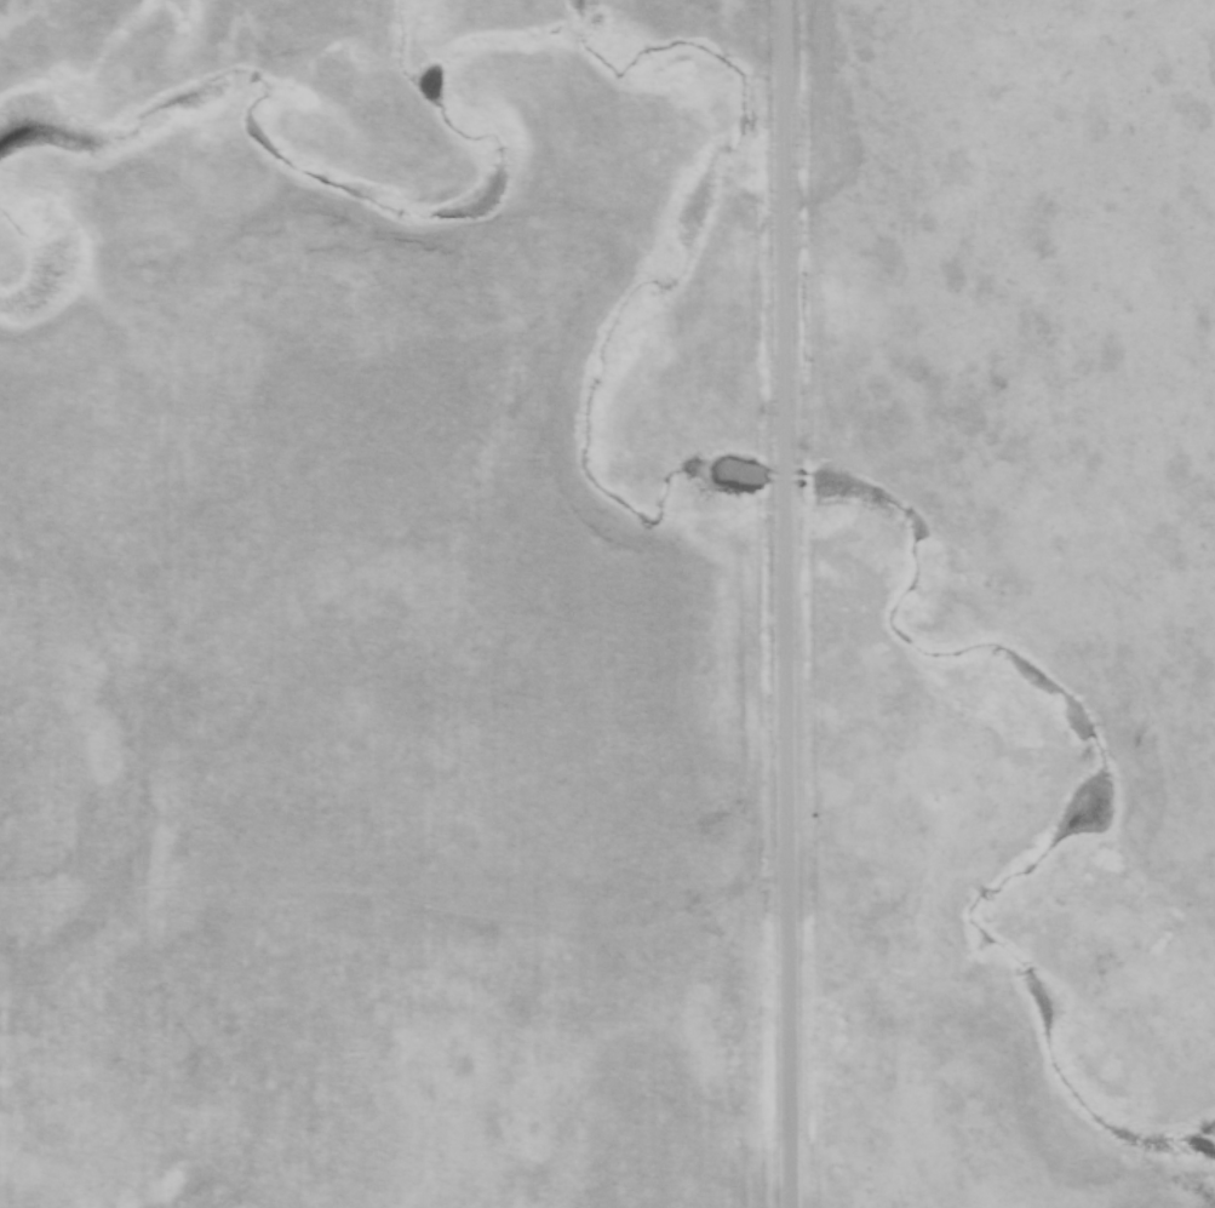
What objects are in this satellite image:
road: (791, 603)

